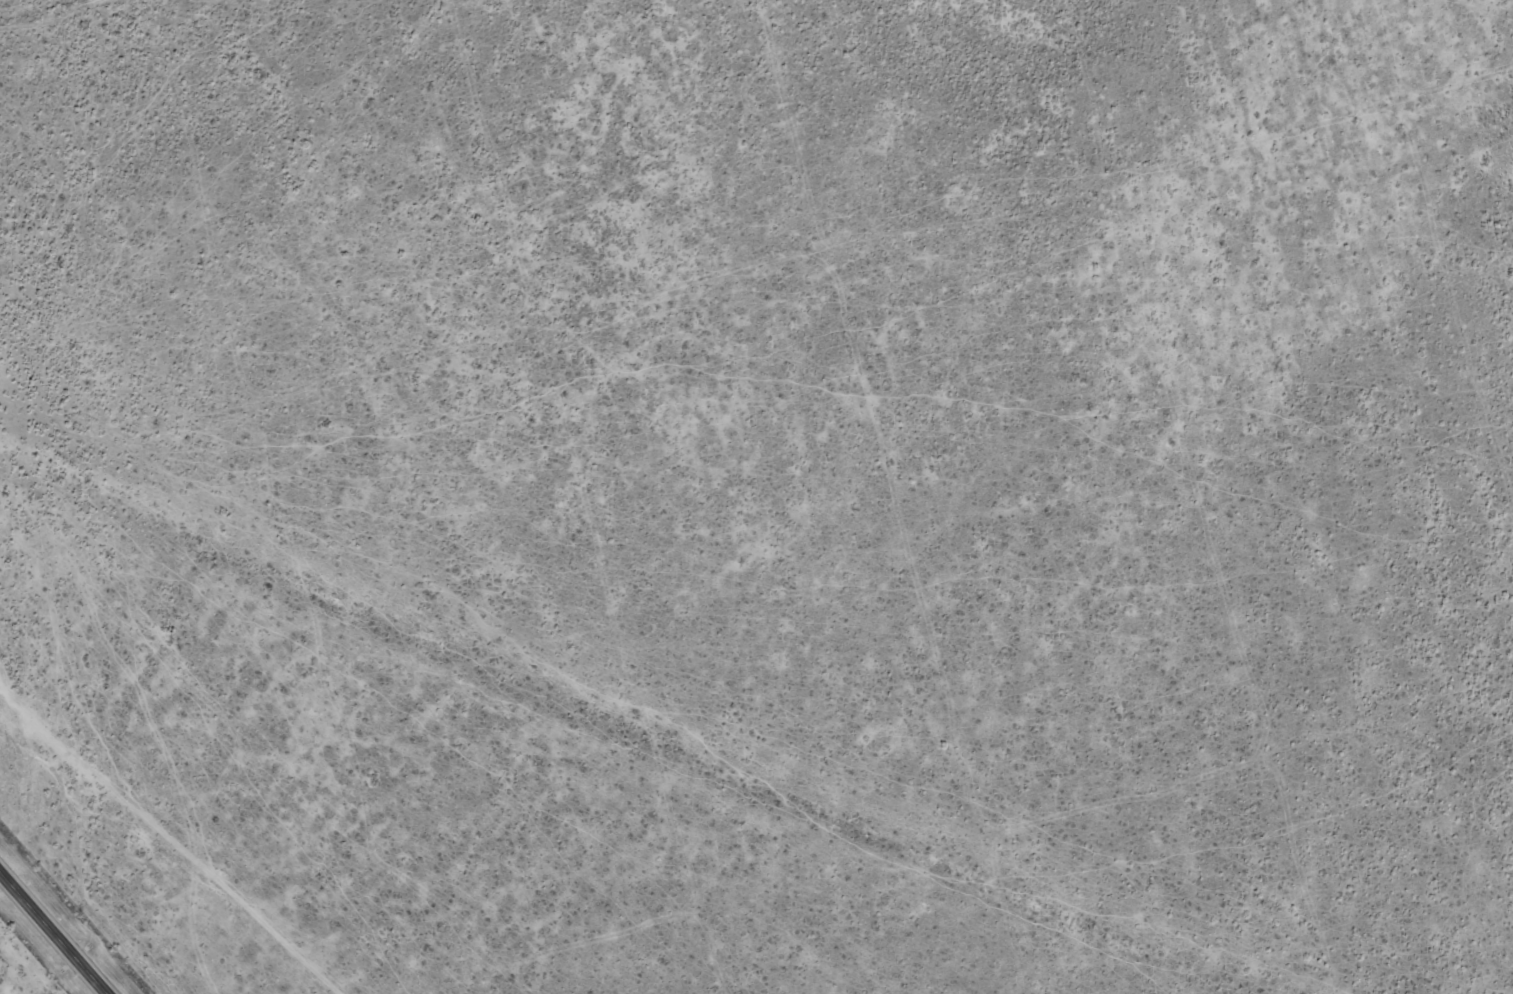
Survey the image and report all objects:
road: (52, 935)

